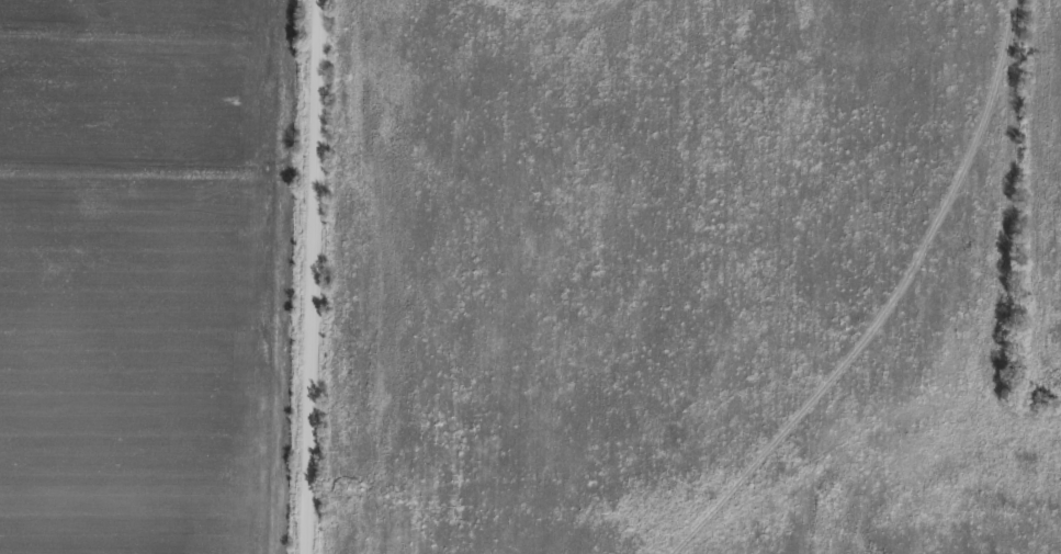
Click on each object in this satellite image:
road: (319, 276)

